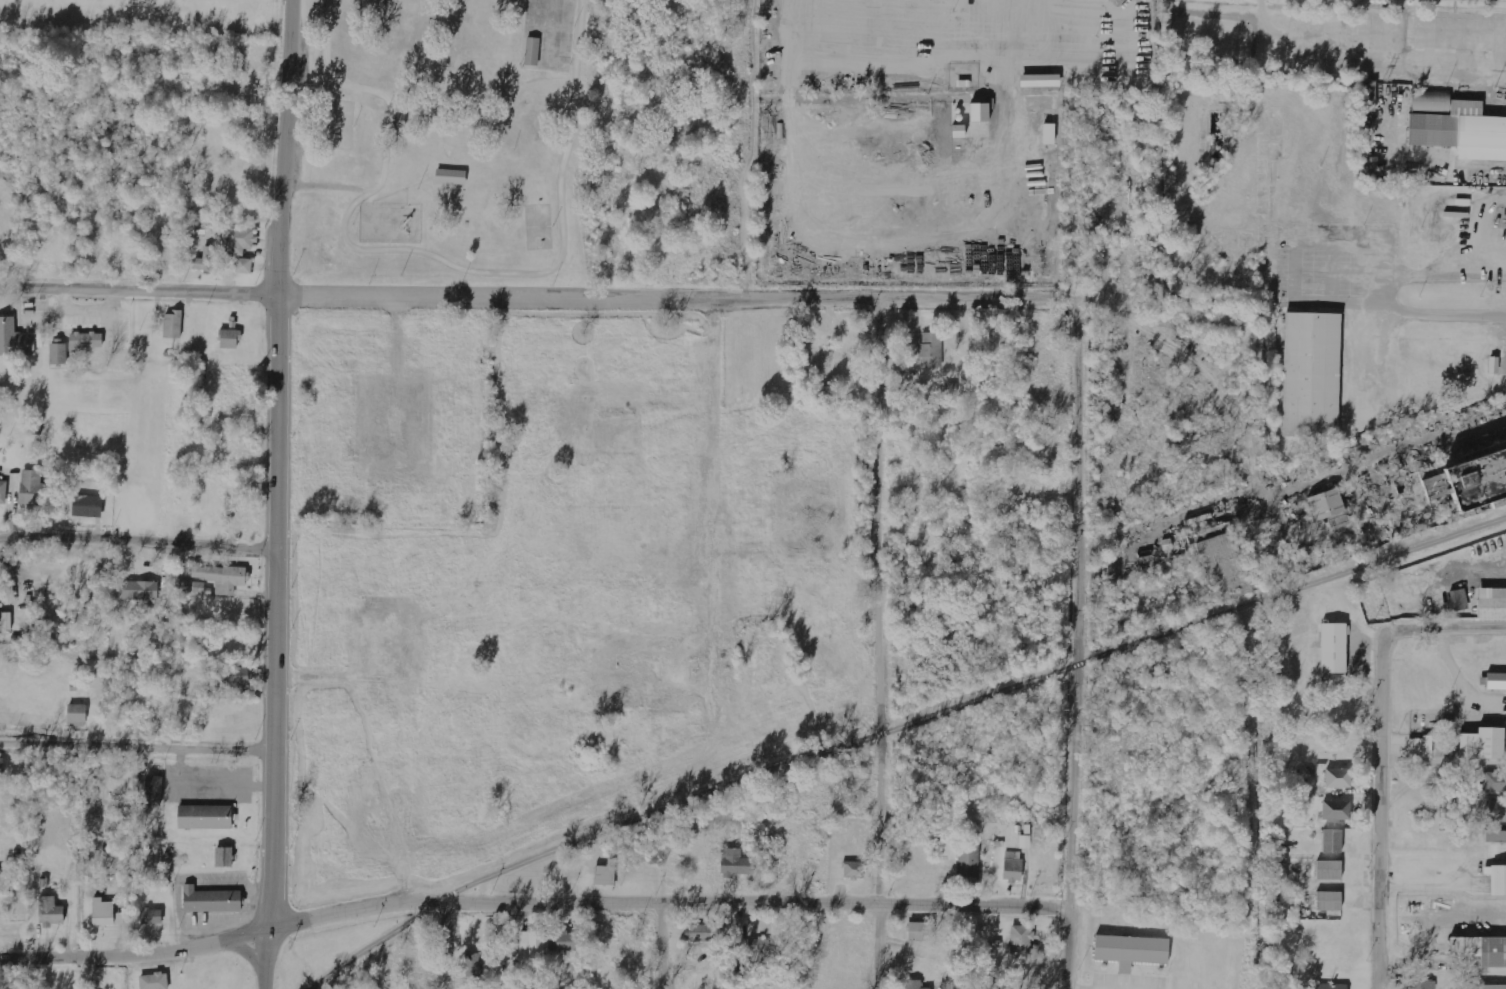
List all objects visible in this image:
building: (530, 49)
building: (1040, 81)
building: (979, 112)
park: (339, 123)
building: (1455, 126)
building: (957, 132)
building: (1049, 134)
park: (525, 141)
building: (449, 174)
building: (1505, 221)
park: (537, 224)
building: (240, 241)
road: (434, 255)
building: (205, 260)
building: (244, 266)
road: (538, 294)
building: (173, 325)
building: (230, 339)
building: (86, 341)
building: (13, 342)
building: (931, 351)
building: (59, 353)
building: (1493, 365)
building: (1310, 376)
building: (948, 389)
building: (1467, 481)
building: (32, 488)
building: (3, 492)
road: (275, 494)
building: (87, 506)
building: (1328, 508)
road: (137, 539)
building: (1223, 564)
building: (222, 577)
building: (141, 591)
building: (1459, 601)
building: (7, 622)
road: (1443, 631)
road: (1077, 641)
road: (884, 643)
building: (1333, 649)
building: (233, 677)
building: (1495, 680)
road: (711, 705)
building: (76, 714)
road: (889, 715)
road: (137, 741)
building: (1481, 743)
building: (1417, 747)
building: (1, 766)
building: (1335, 778)
building: (1489, 780)
building: (154, 791)
building: (1330, 809)
building: (1494, 810)
road: (1379, 811)
building: (203, 819)
building: (1493, 837)
building: (1329, 841)
building: (1025, 842)
building: (224, 857)
building: (969, 858)
building: (735, 863)
building: (1012, 867)
building: (853, 869)
building: (1326, 870)
building: (604, 876)
building: (1497, 880)
road: (530, 896)
building: (1325, 901)
building: (209, 902)
building: (51, 912)
building: (103, 912)
building: (151, 916)
building: (123, 918)
building: (921, 931)
building: (700, 933)
building: (1022, 940)
building: (565, 941)
road: (450, 942)
road: (669, 943)
building: (531, 948)
building: (758, 950)
building: (1129, 952)
building: (1480, 952)
building: (474, 965)
building: (154, 981)
building: (1421, 984)
building: (1327, 986)
building: (1489, 988)

